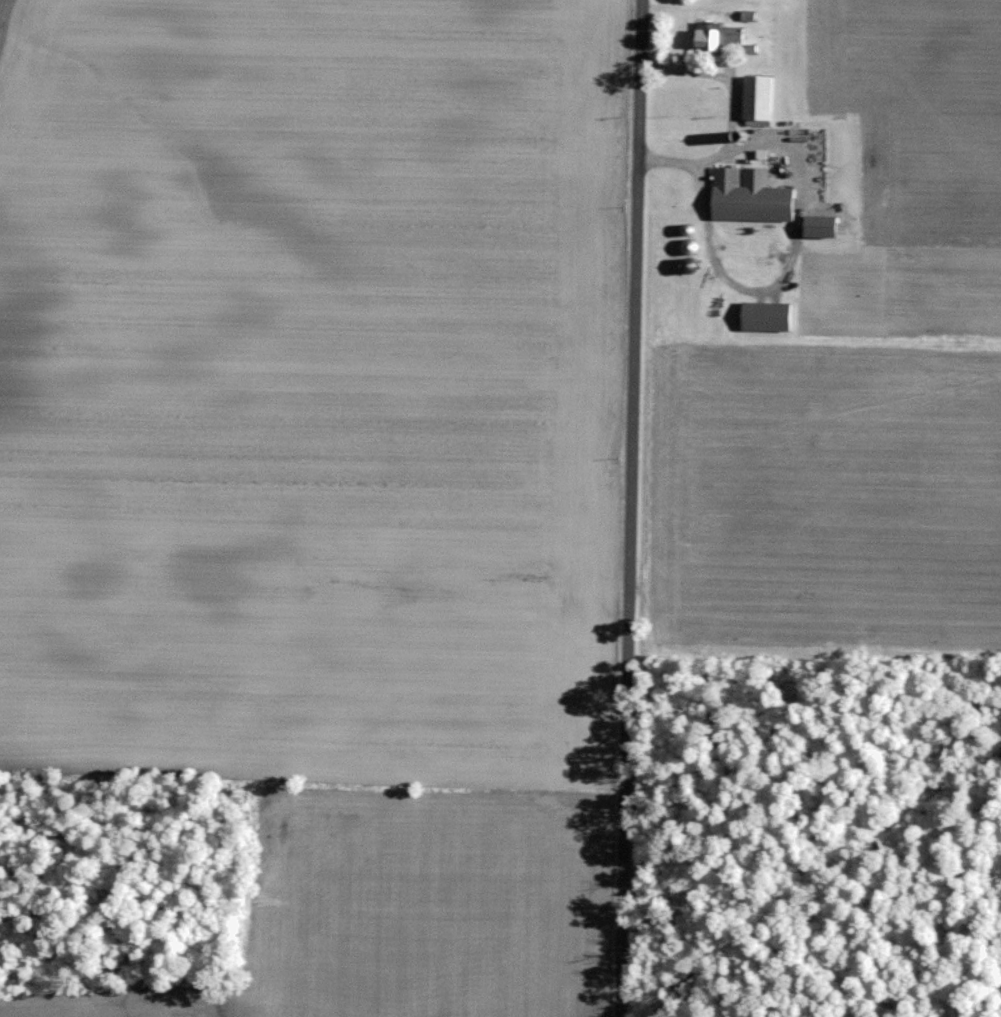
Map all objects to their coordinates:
road: (732, 116)
road: (718, 275)
road: (628, 508)

